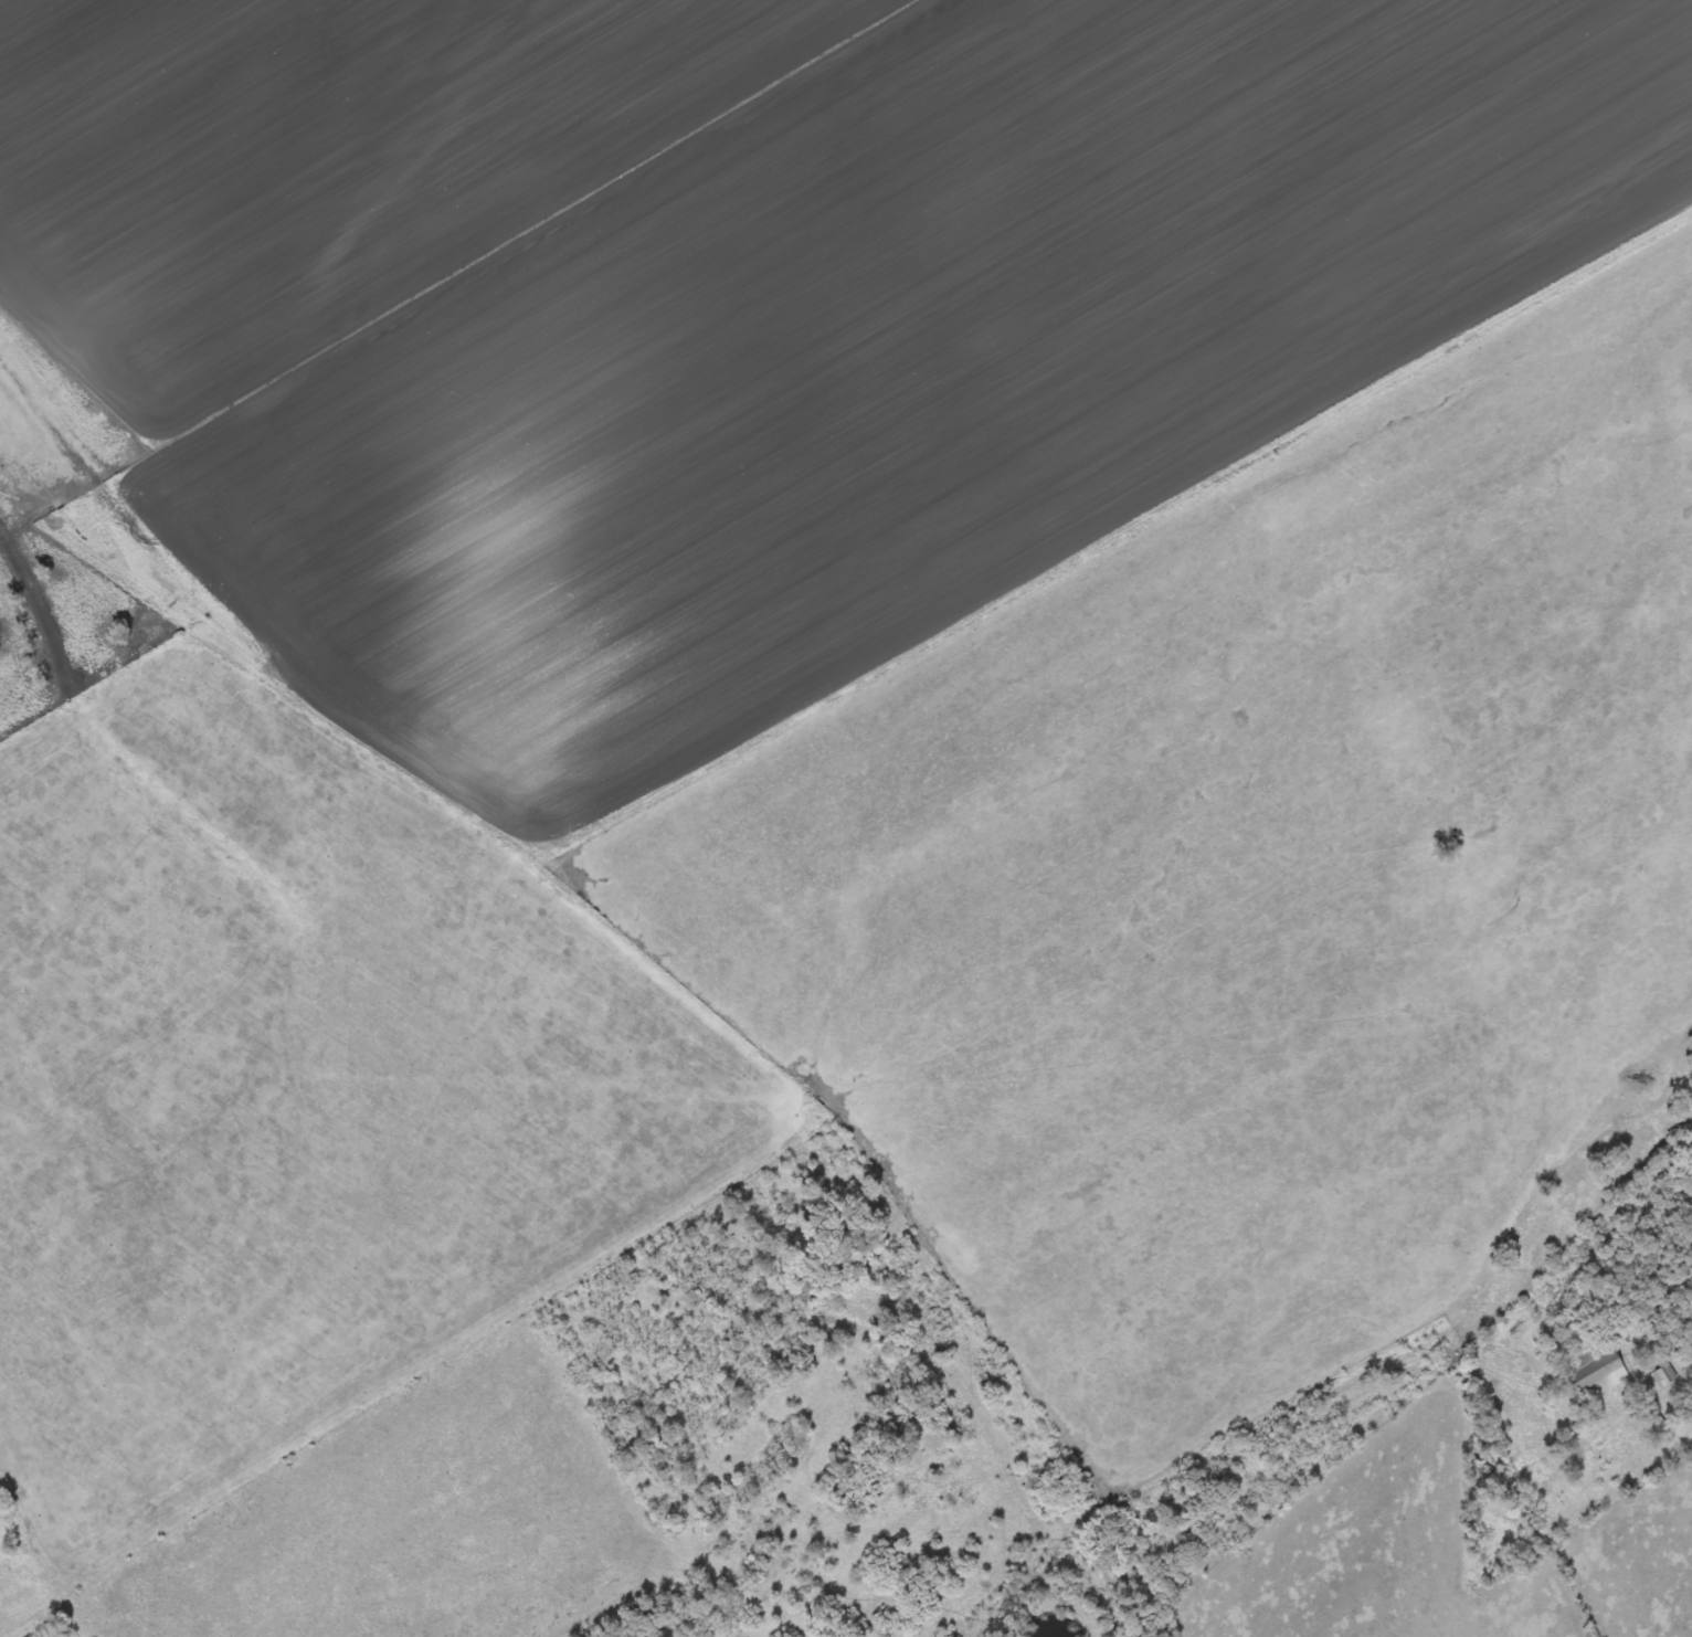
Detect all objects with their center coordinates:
building: (1595, 1370)
building: (1664, 1375)

